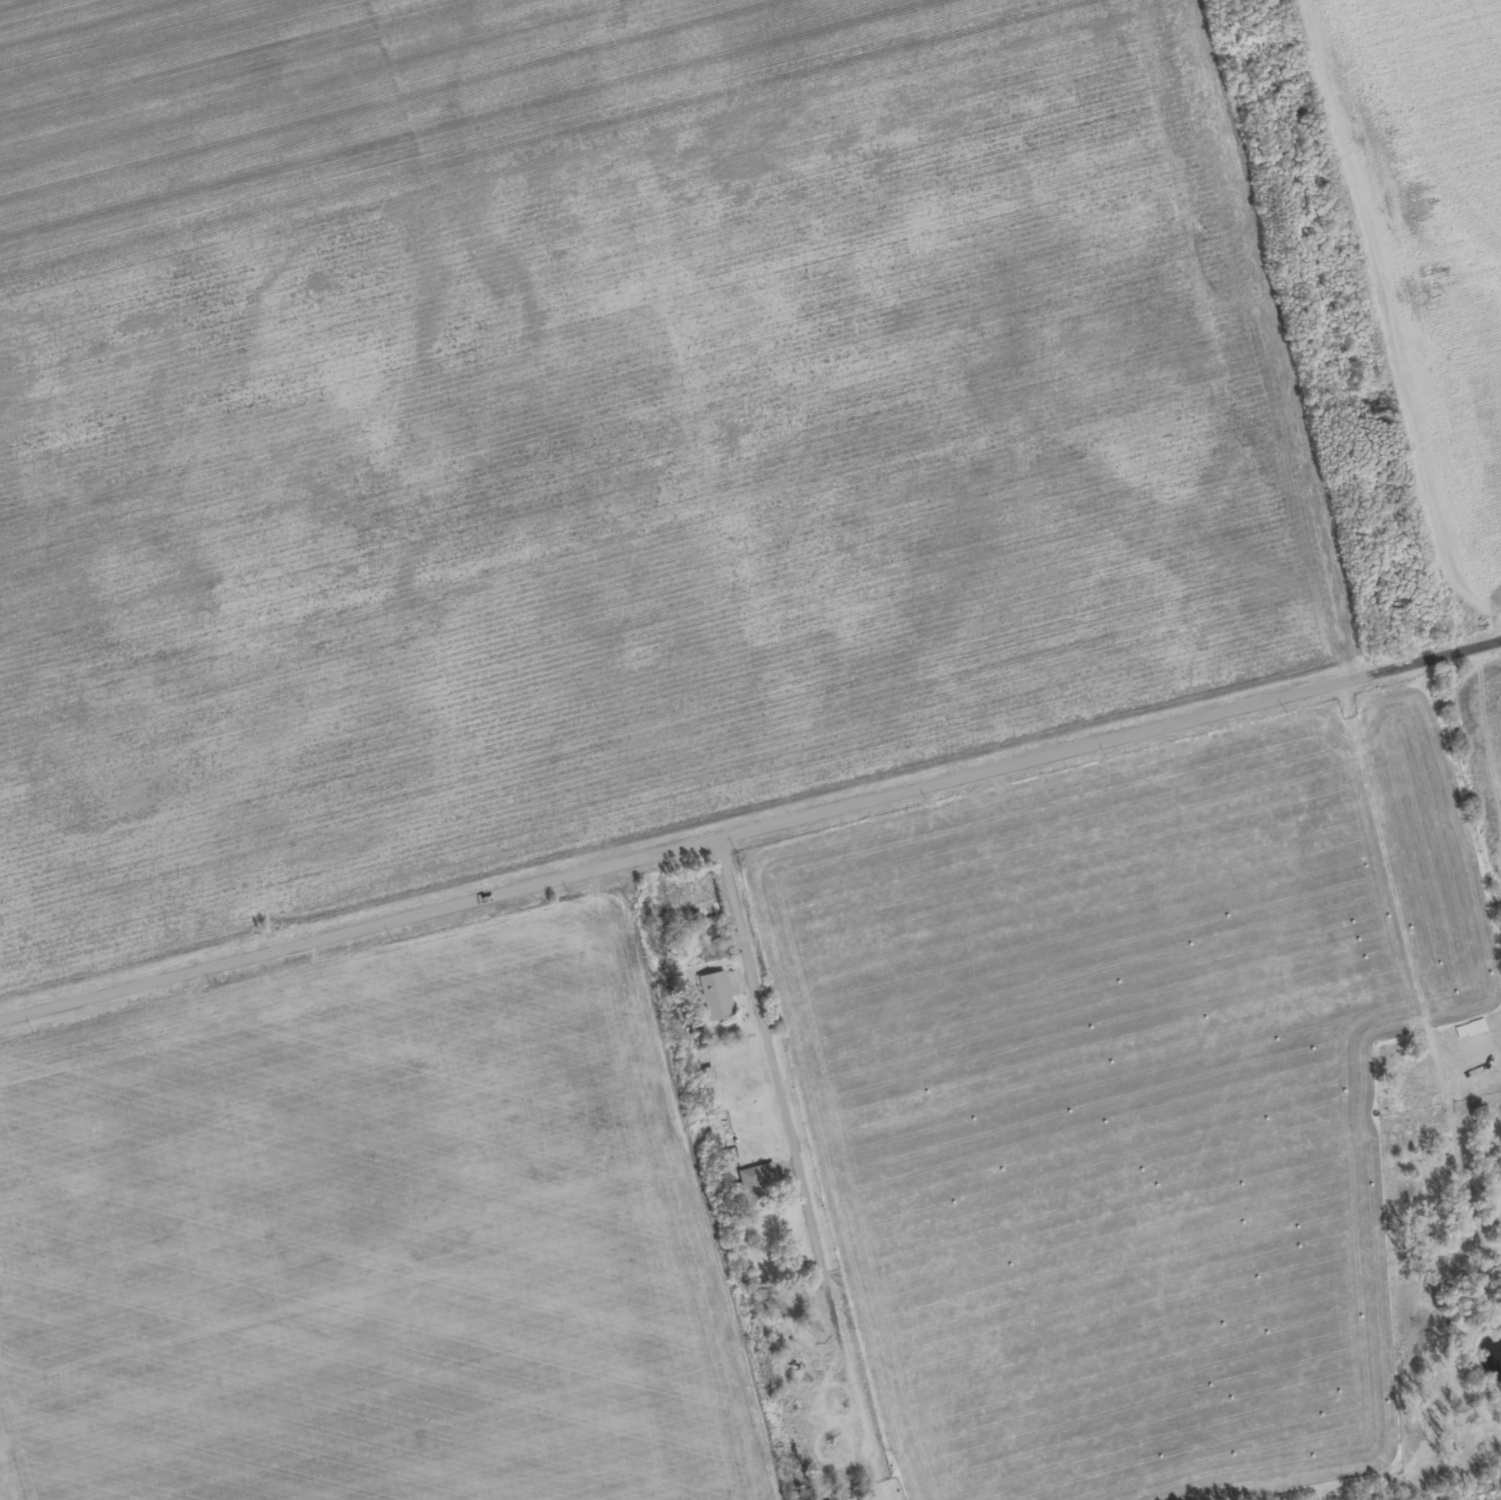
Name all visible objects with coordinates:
road: (750, 829)
building: (717, 997)
road: (784, 1105)
building: (757, 1186)
building: (829, 1441)

